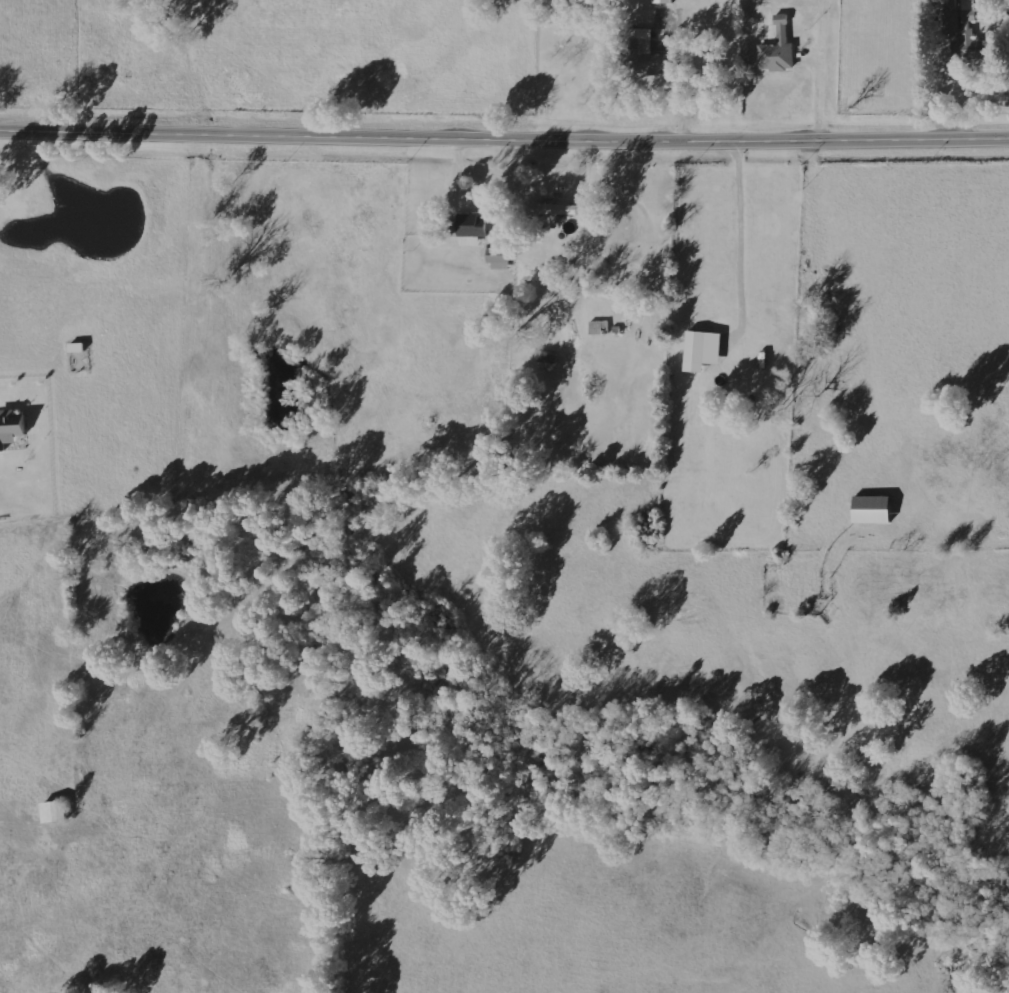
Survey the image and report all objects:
building: (662, 0)
building: (962, 25)
building: (776, 48)
building: (641, 51)
road: (819, 79)
road: (504, 138)
building: (552, 208)
building: (465, 231)
building: (693, 345)
building: (14, 426)
building: (868, 508)

